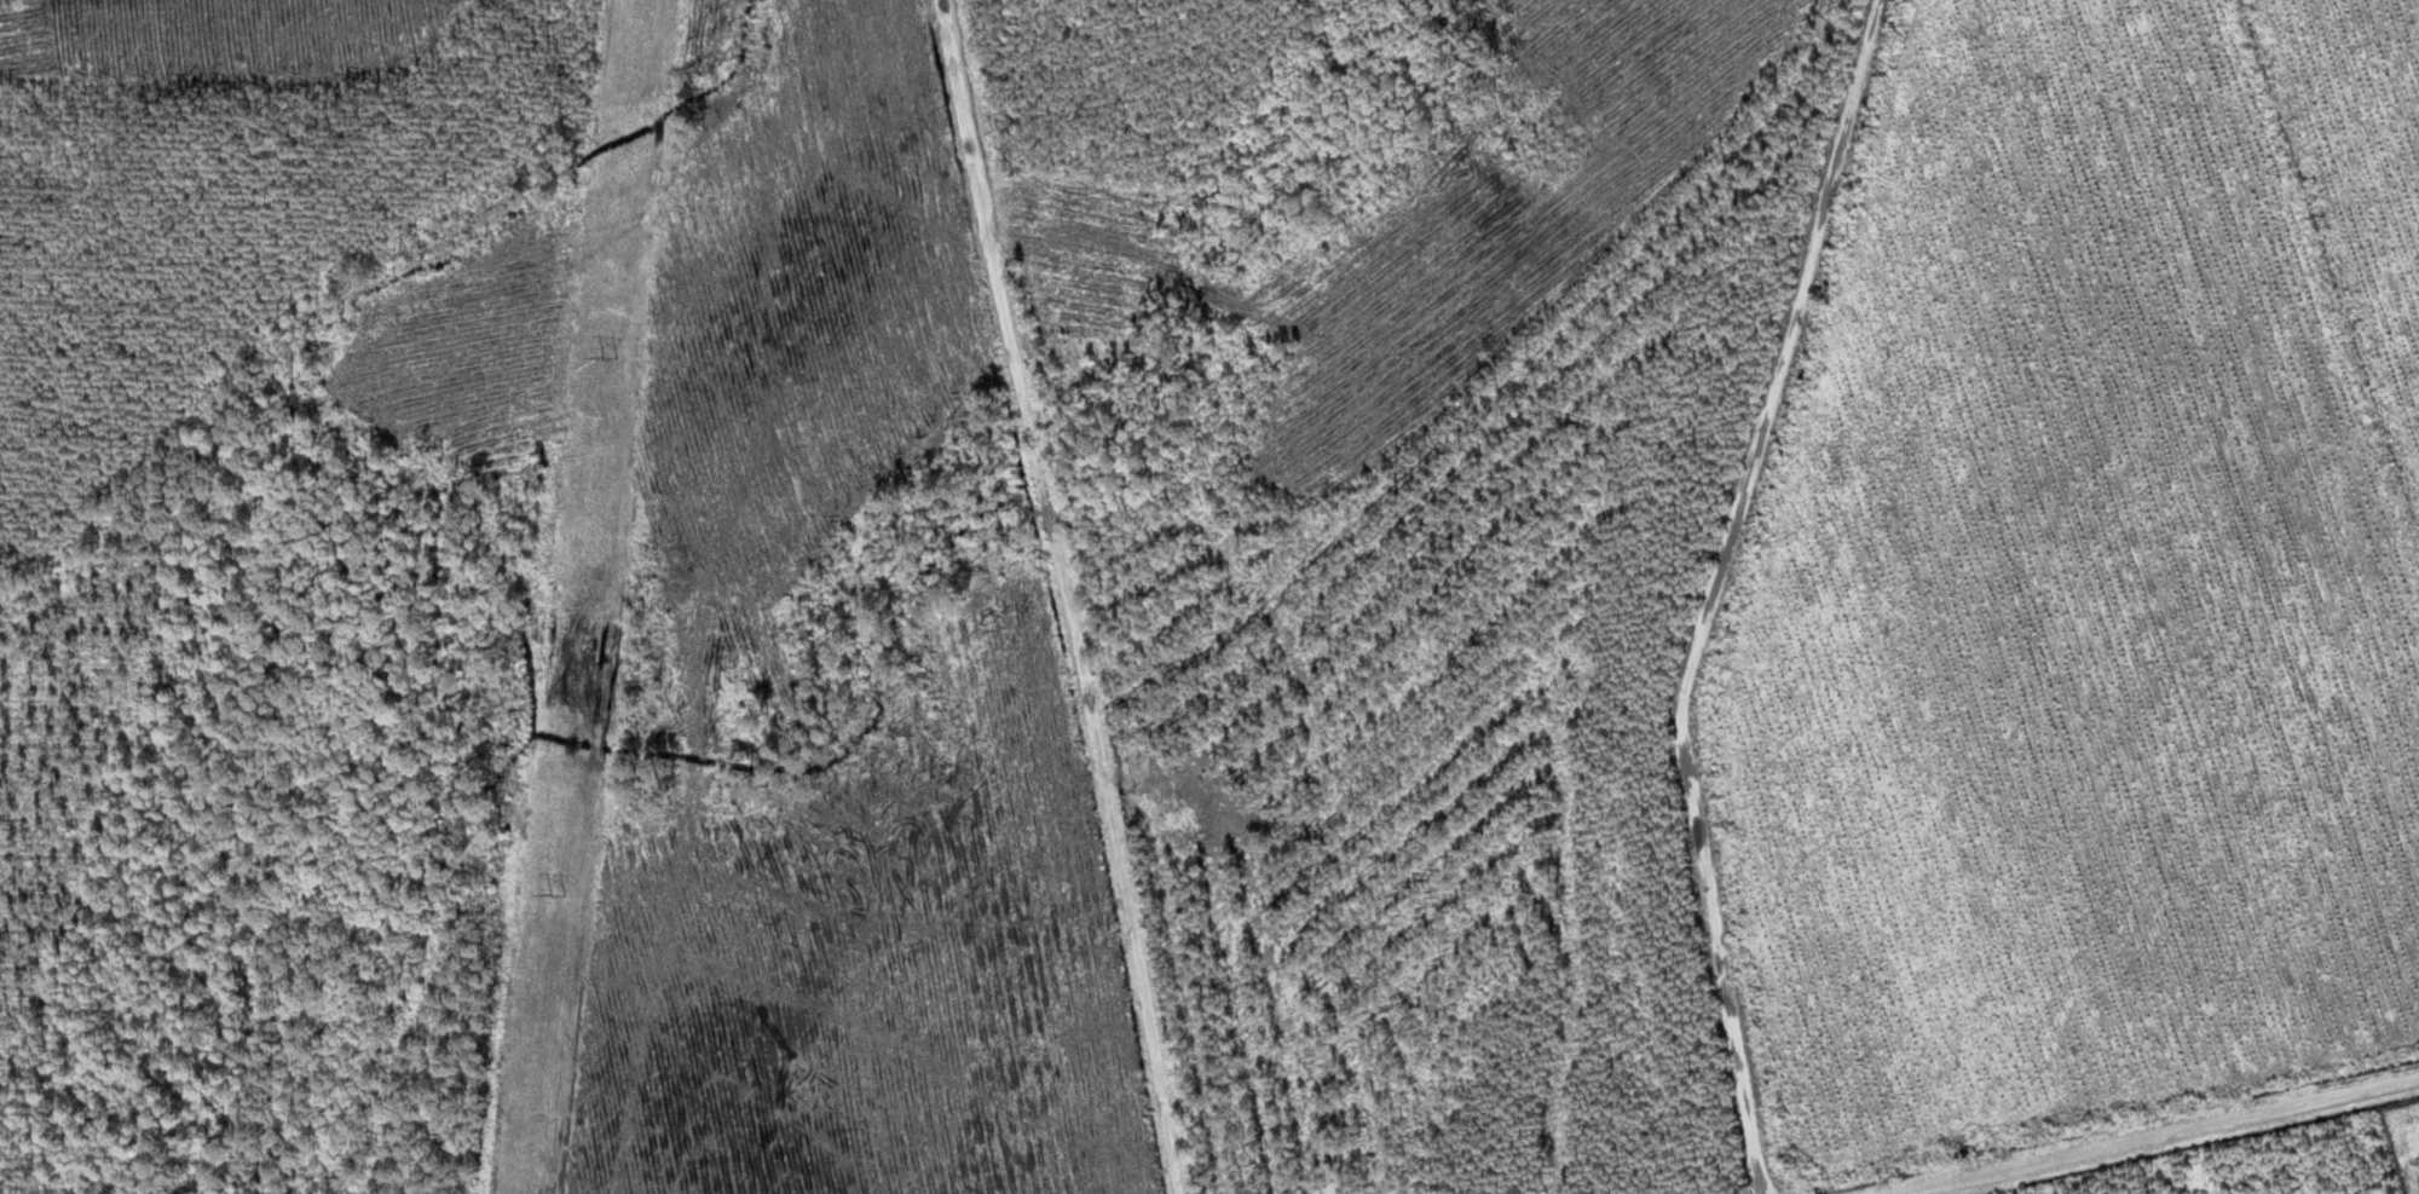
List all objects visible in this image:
power tower: (606, 357)
road: (1067, 598)
power tower: (559, 898)

